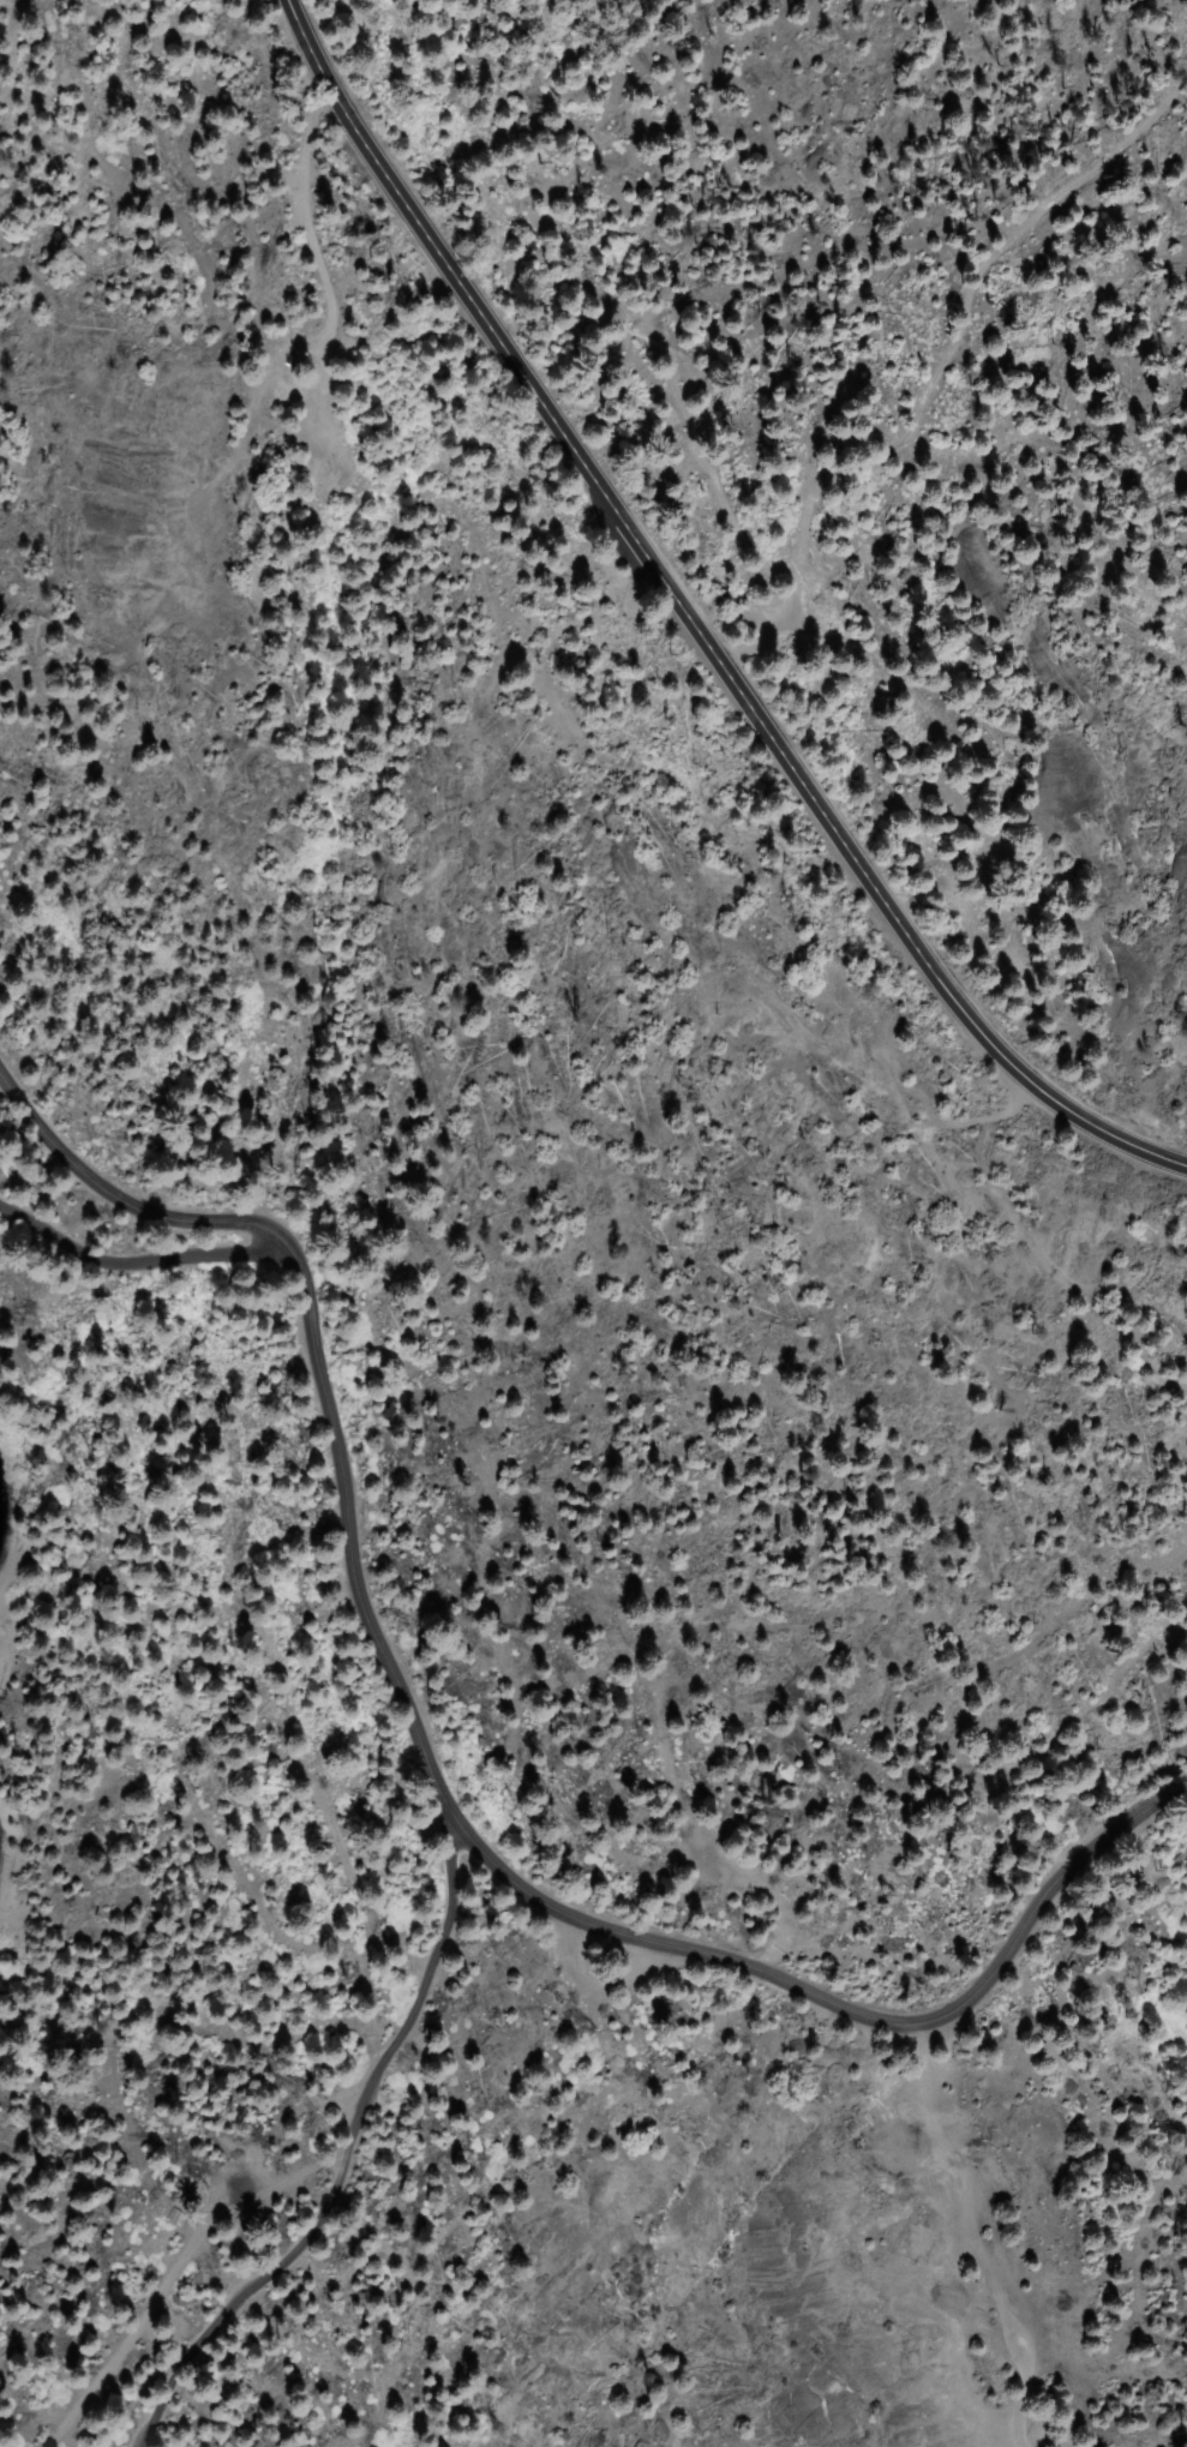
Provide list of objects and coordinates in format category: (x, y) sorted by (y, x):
road: (685, 631)
road: (442, 1791)
road: (348, 2158)
road: (975, 2235)

